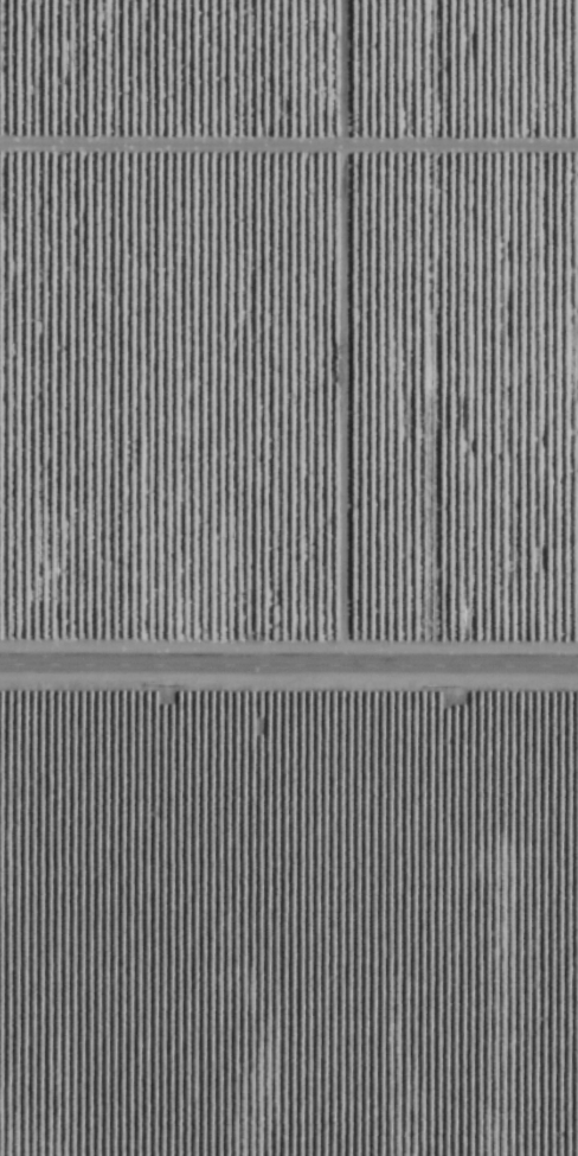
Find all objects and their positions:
crop: (289, 577)
road: (288, 672)

